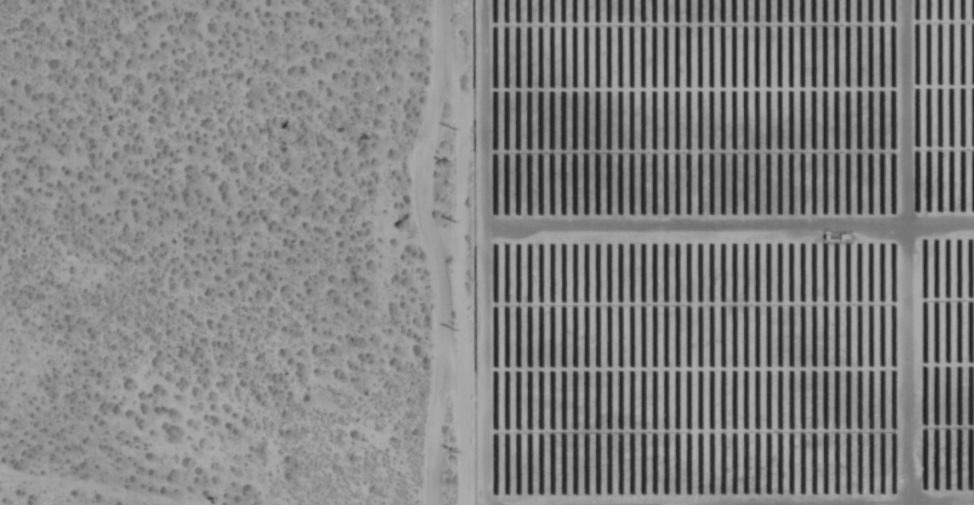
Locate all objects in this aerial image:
road: (428, 250)
solar farm: (721, 251)

